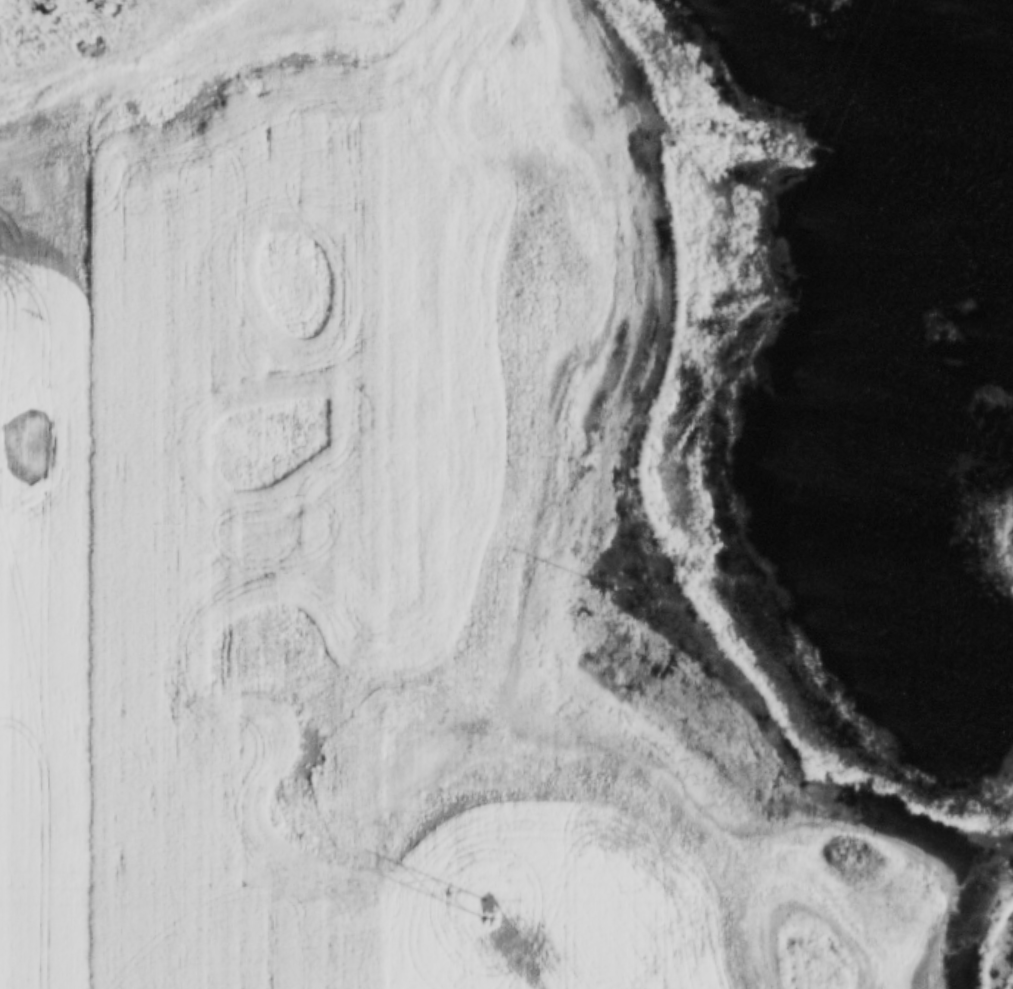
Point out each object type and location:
power tower: (799, 143)
power tower: (593, 572)
power tower: (485, 906)

